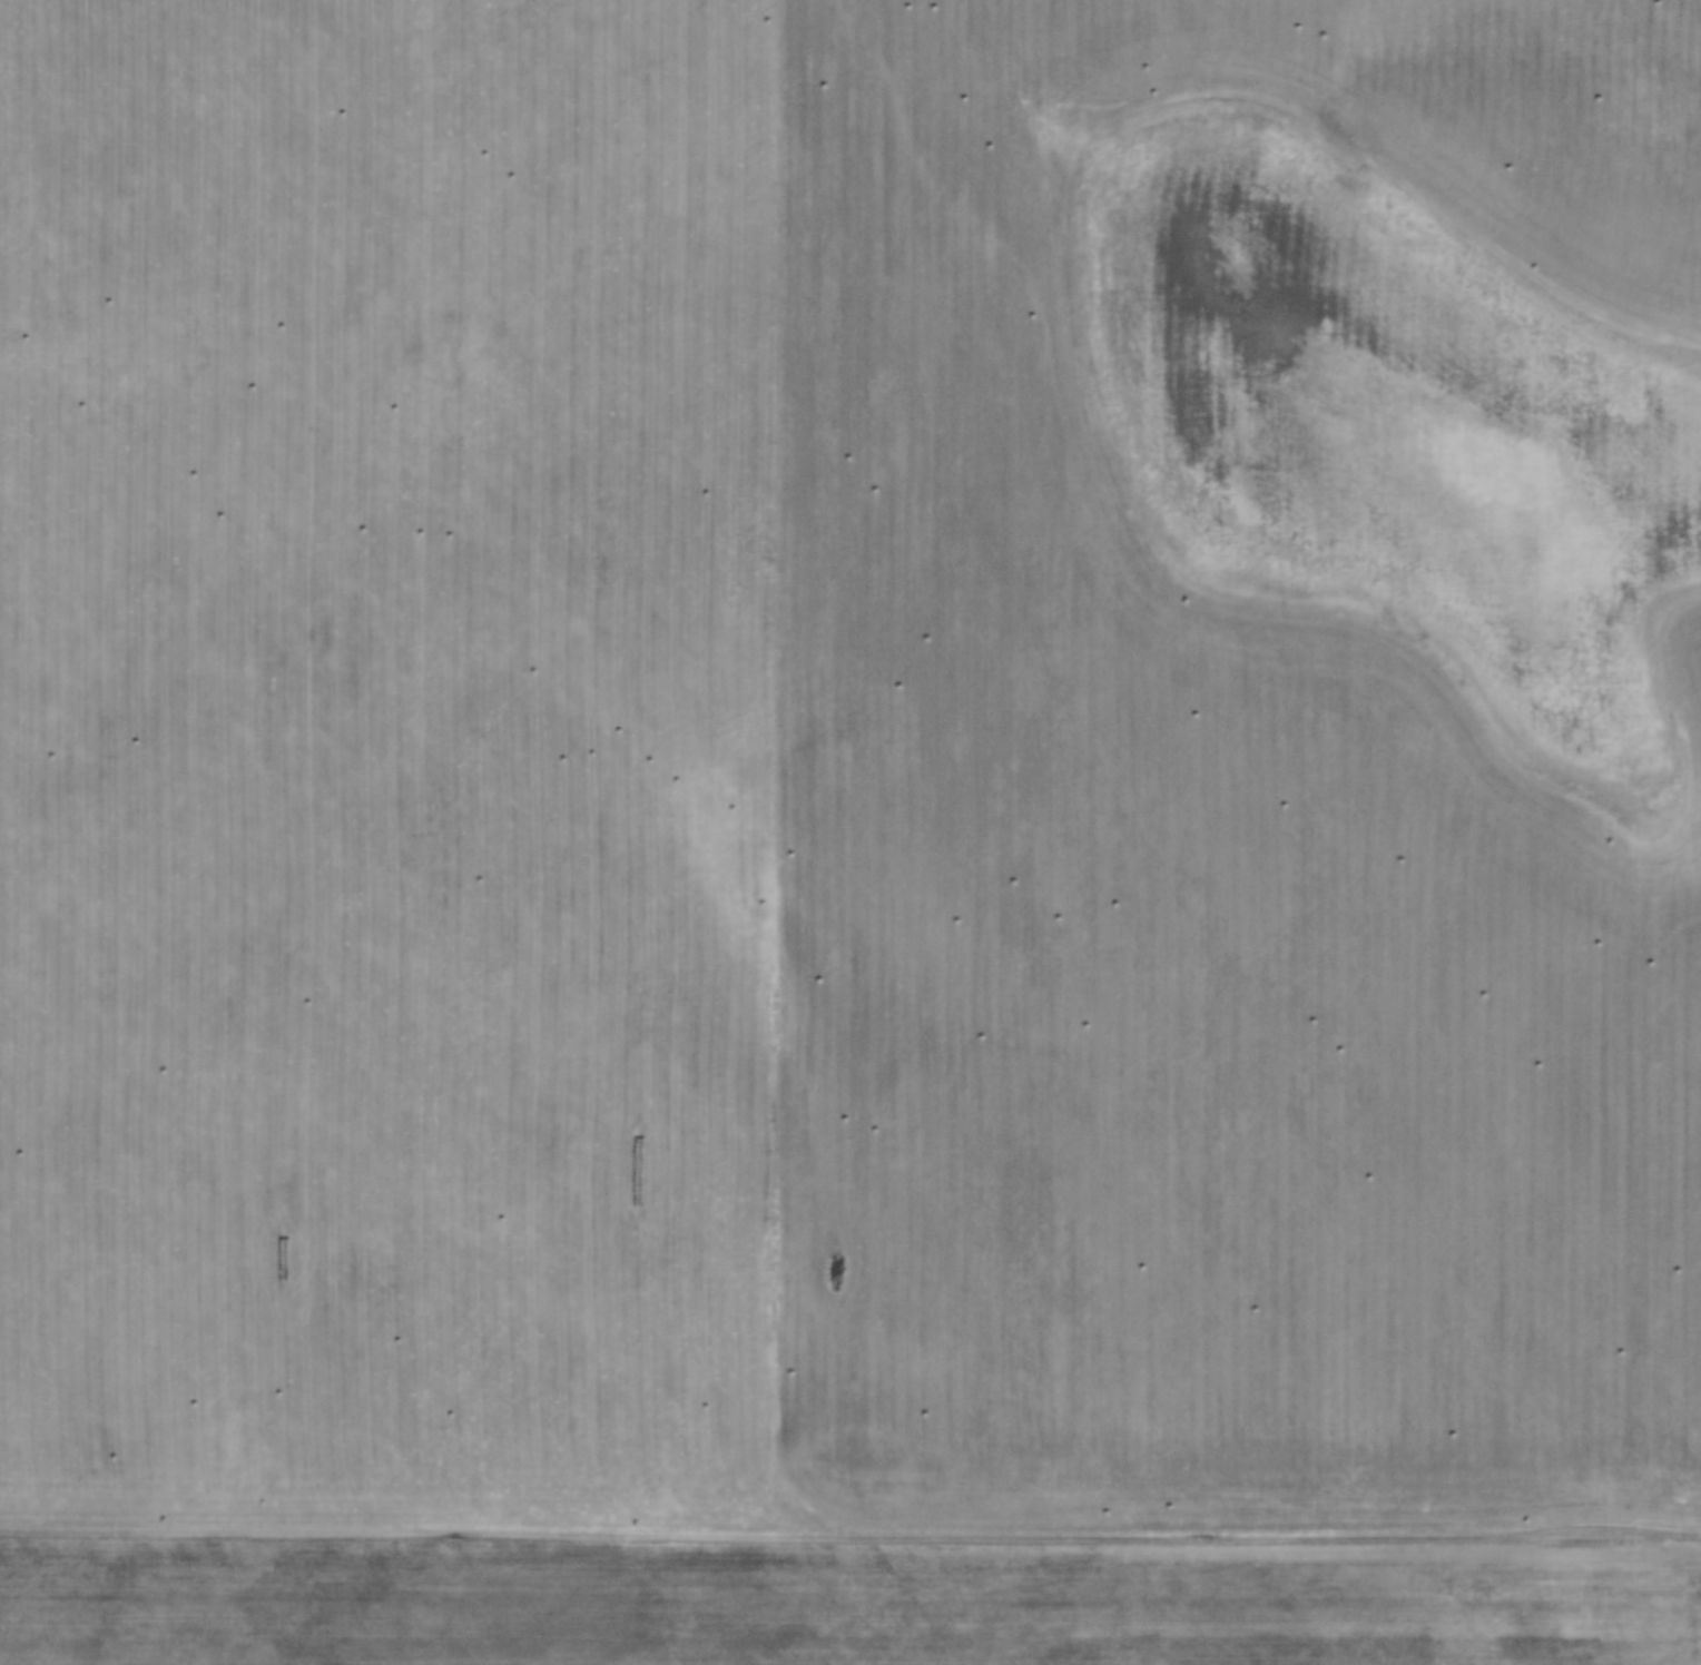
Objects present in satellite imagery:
road: (849, 1550)

